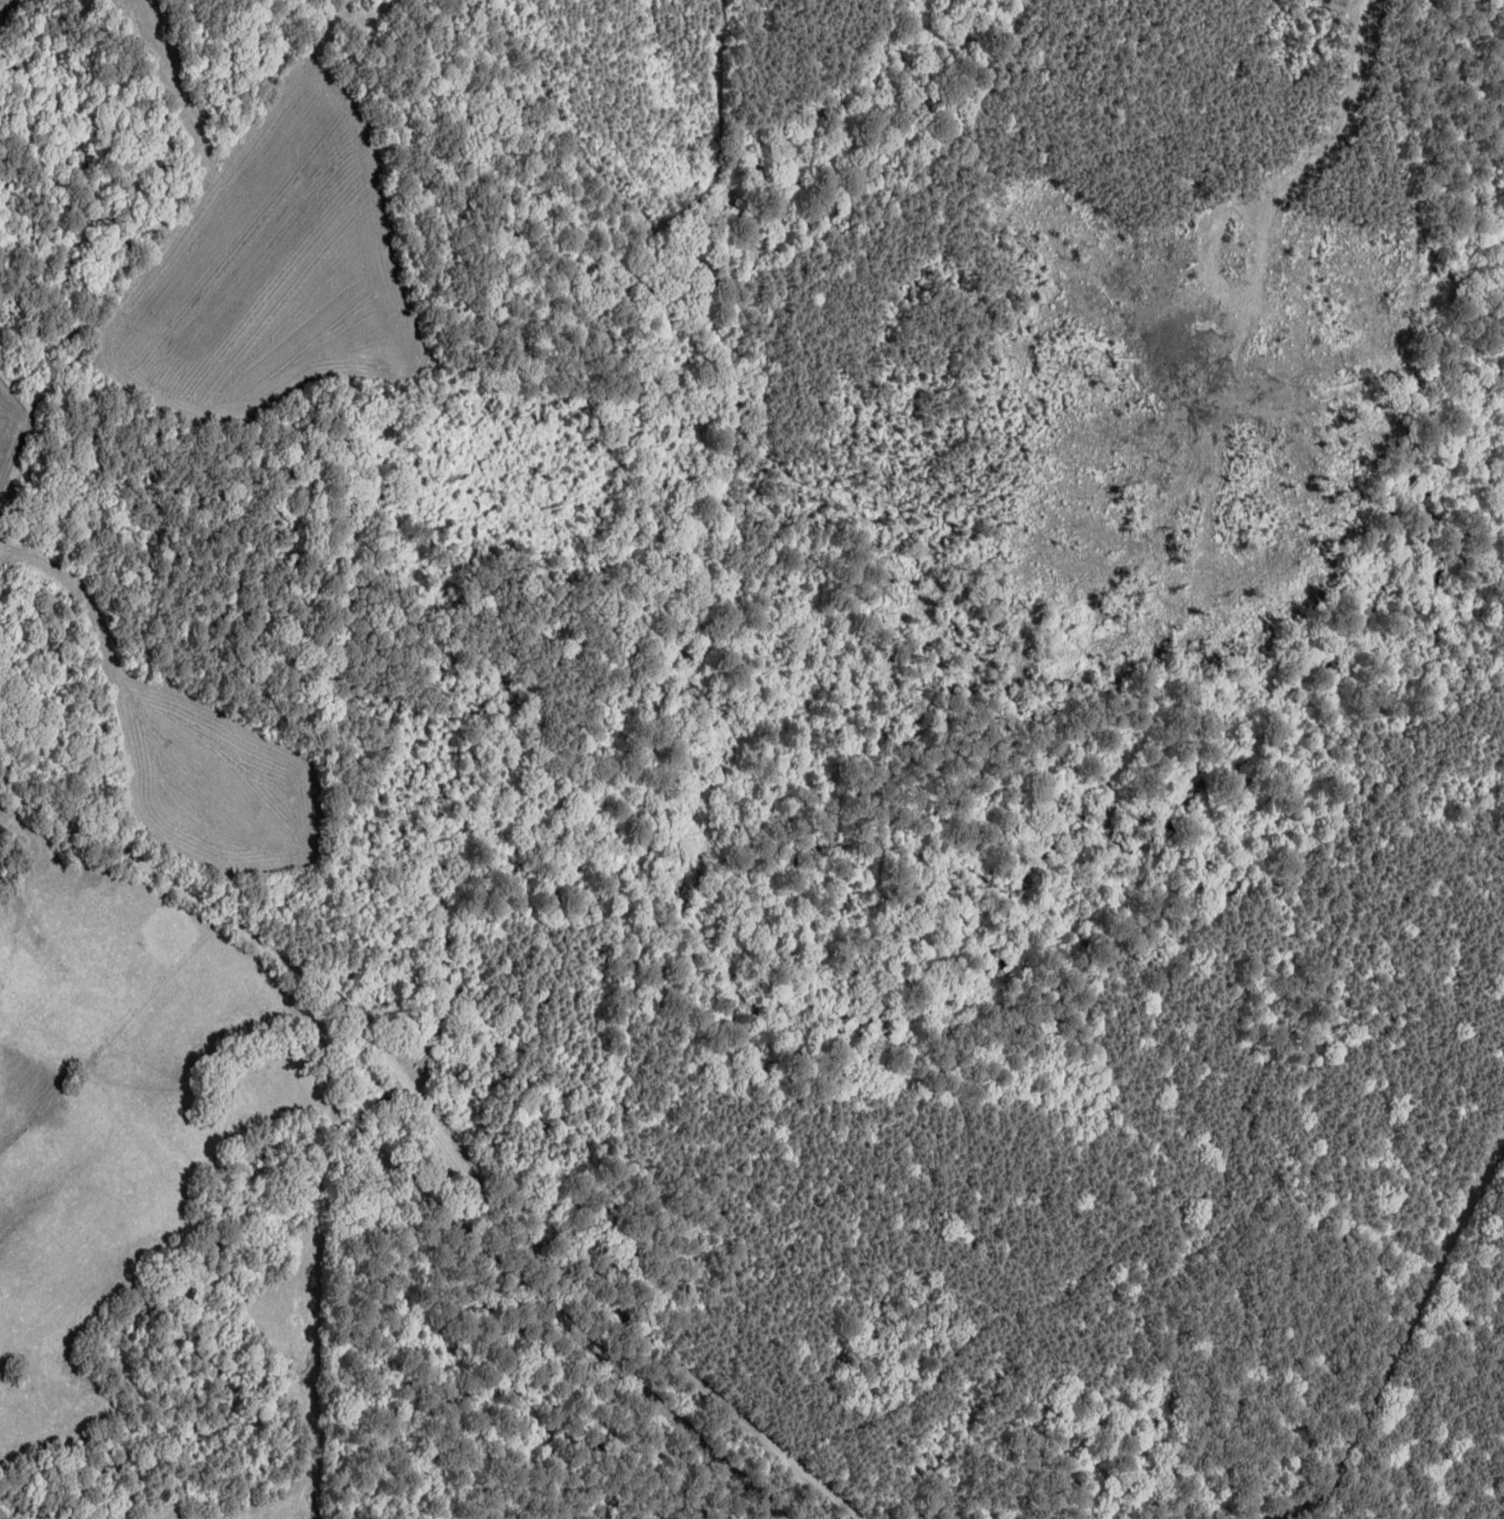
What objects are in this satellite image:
road: (452, 1134)

